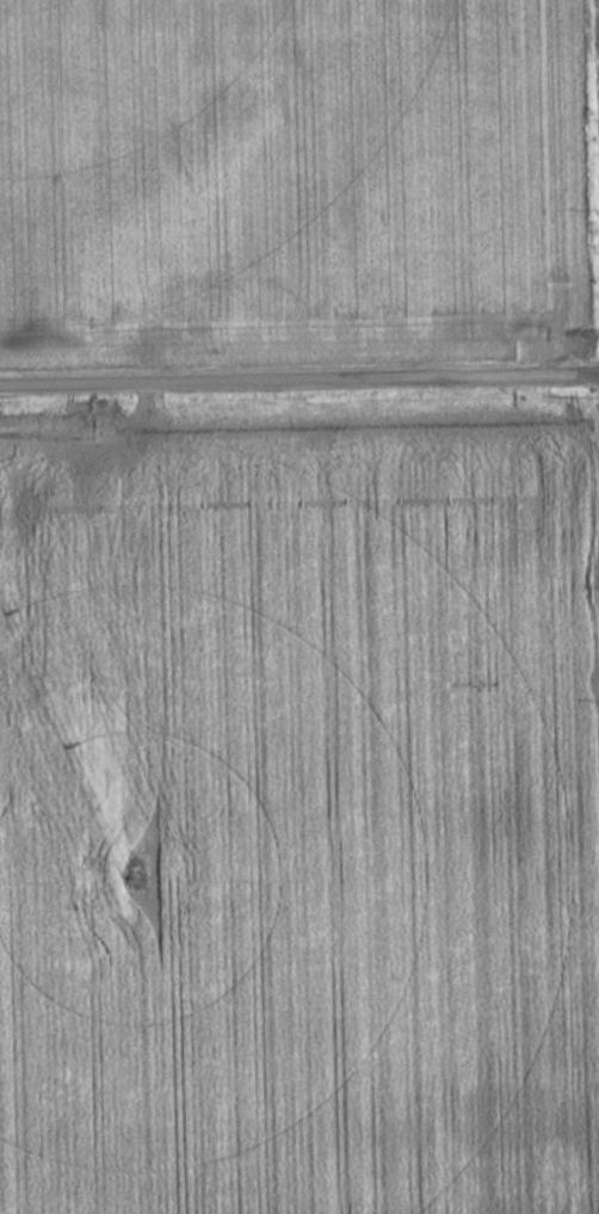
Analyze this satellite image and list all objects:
road: (299, 374)
crop: (295, 822)

